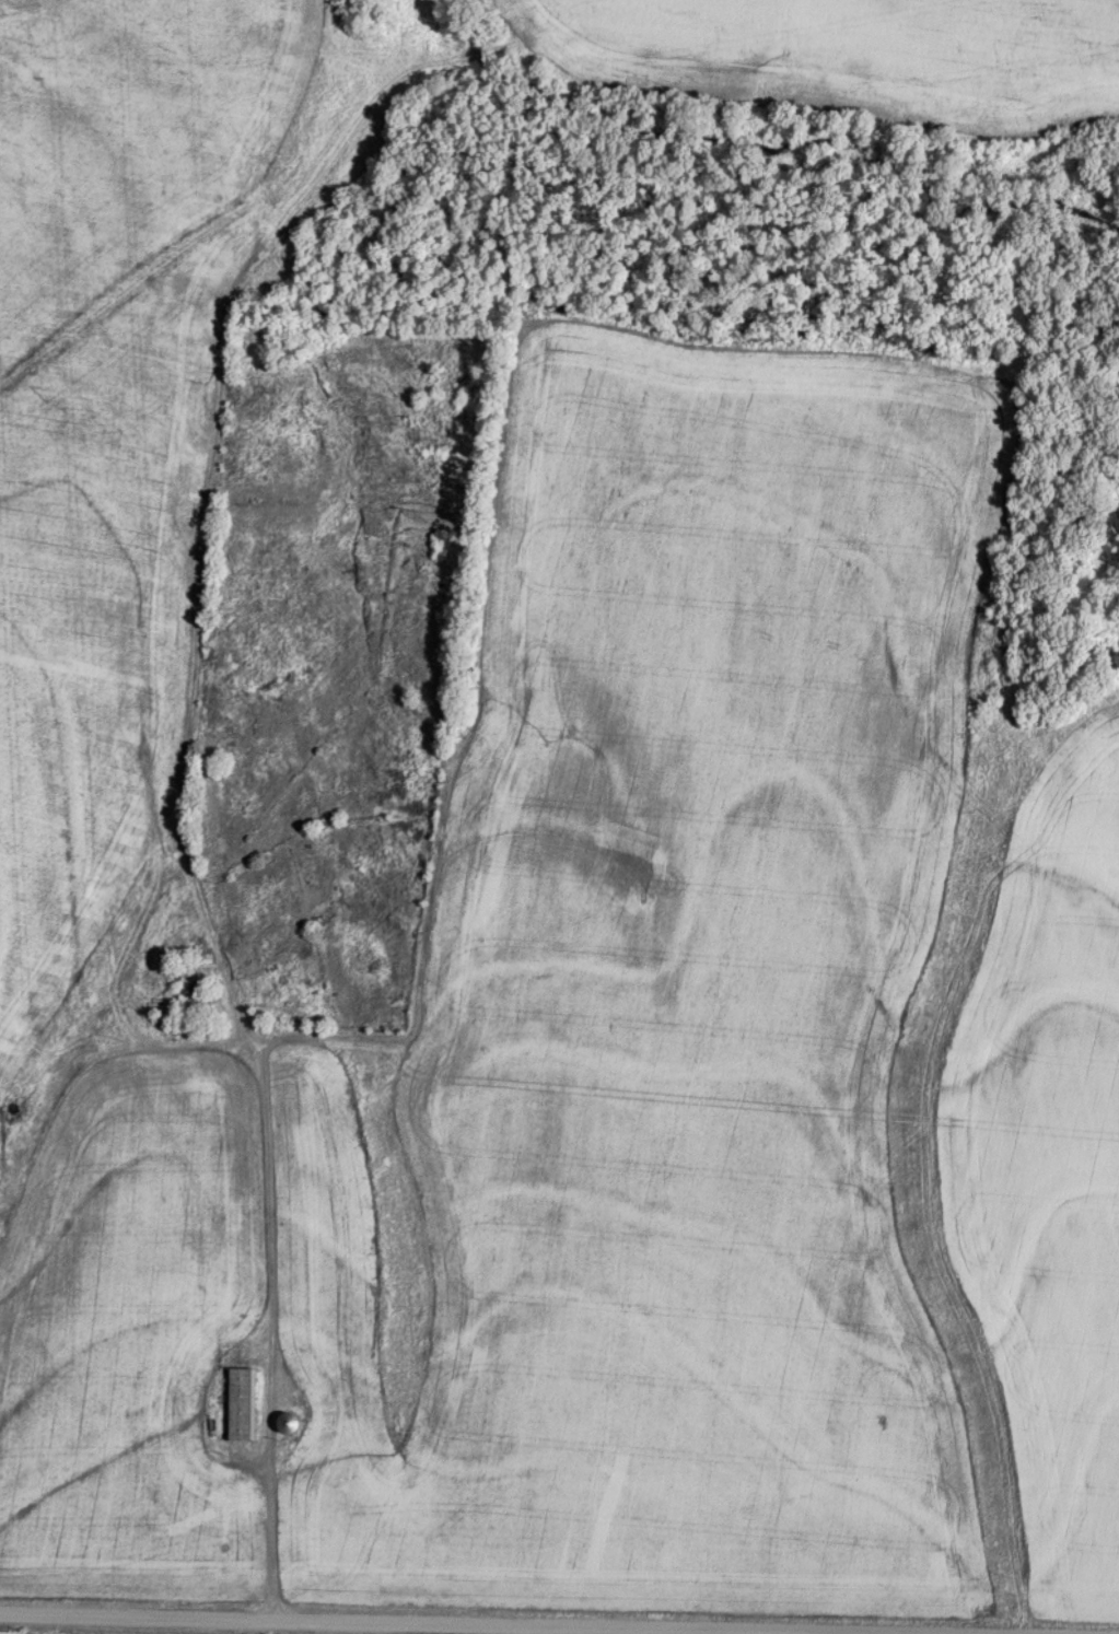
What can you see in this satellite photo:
road: (272, 1274)
building: (240, 1403)
building: (285, 1422)
road: (504, 1626)

